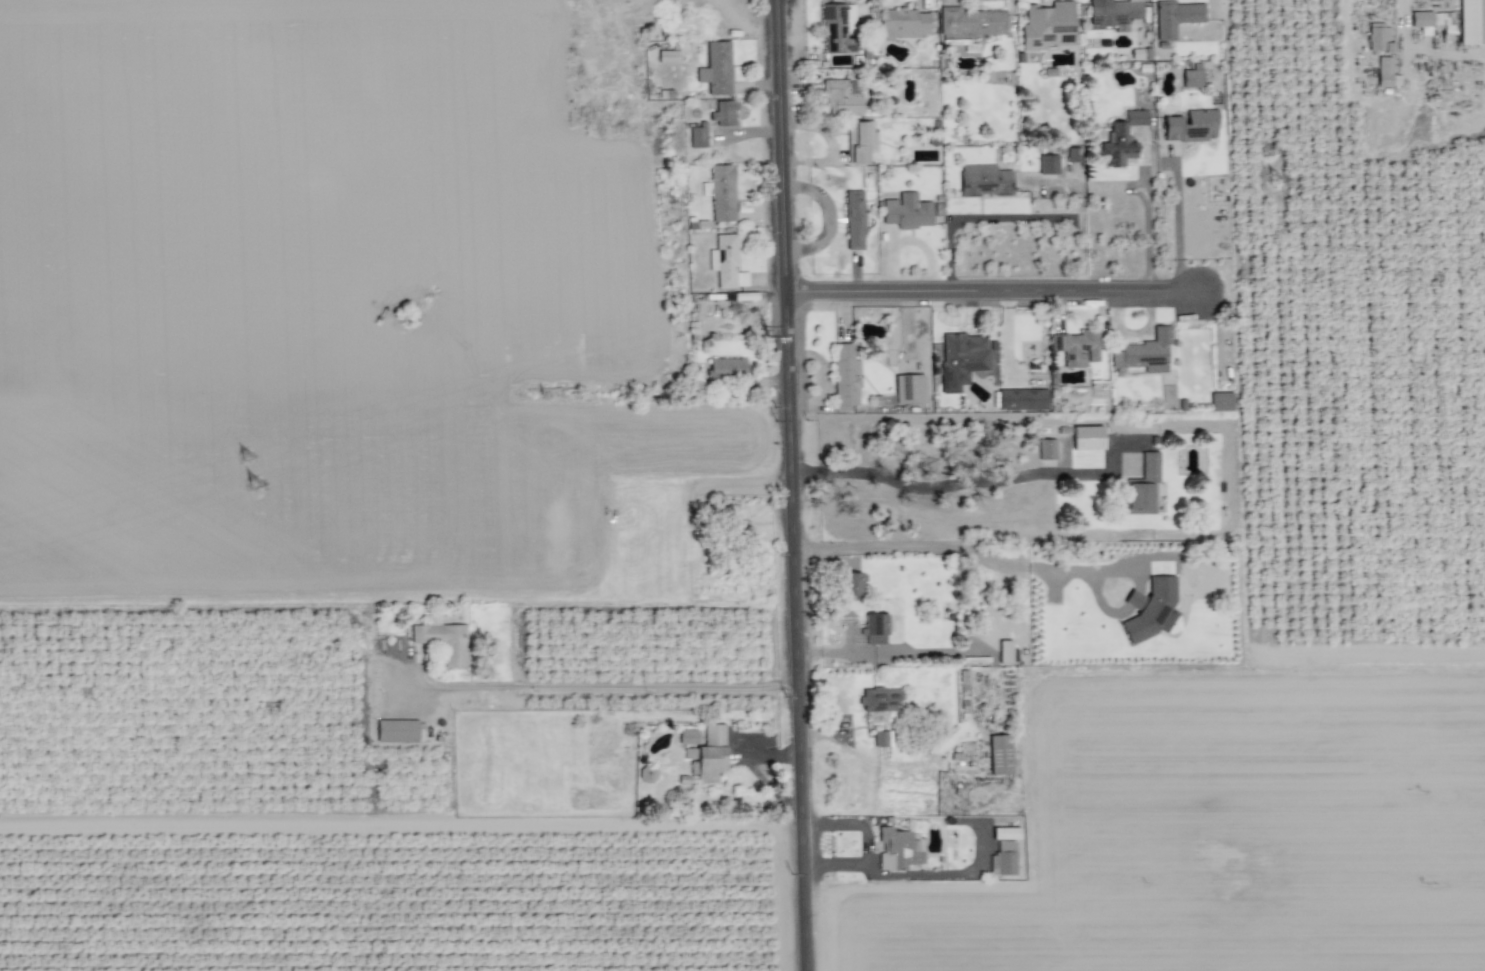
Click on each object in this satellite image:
building: (1113, 14)
building: (1175, 17)
building: (1433, 20)
building: (1472, 22)
building: (904, 24)
building: (969, 24)
building: (1048, 26)
building: (839, 28)
building: (1377, 35)
building: (1388, 47)
building: (667, 56)
building: (716, 68)
building: (1386, 73)
building: (1193, 76)
building: (842, 97)
building: (723, 113)
building: (1191, 125)
building: (697, 137)
building: (1122, 138)
building: (859, 141)
power tower: (1268, 156)
building: (1048, 164)
building: (984, 180)
power tower: (1273, 183)
building: (721, 192)
building: (907, 211)
road: (1015, 219)
building: (854, 220)
road: (1145, 226)
road: (1177, 227)
building: (726, 262)
road: (990, 291)
power tower: (732, 313)
power tower: (764, 336)
building: (1077, 347)
building: (1149, 355)
building: (961, 359)
building: (726, 367)
building: (845, 374)
building: (909, 389)
building: (1020, 399)
building: (1221, 401)
building: (1087, 438)
building: (1047, 449)
power tower: (247, 460)
road: (954, 484)
building: (1144, 484)
railway: (227, 485)
road: (794, 485)
power tower: (252, 489)
road: (959, 549)
building: (852, 584)
building: (1151, 609)
building: (877, 628)
road: (894, 631)
building: (443, 641)
road: (595, 681)
building: (880, 699)
building: (396, 730)
building: (688, 737)
building: (881, 738)
building: (708, 754)
building: (999, 754)
road: (488, 807)
building: (1005, 833)
building: (898, 849)
building: (1003, 859)

